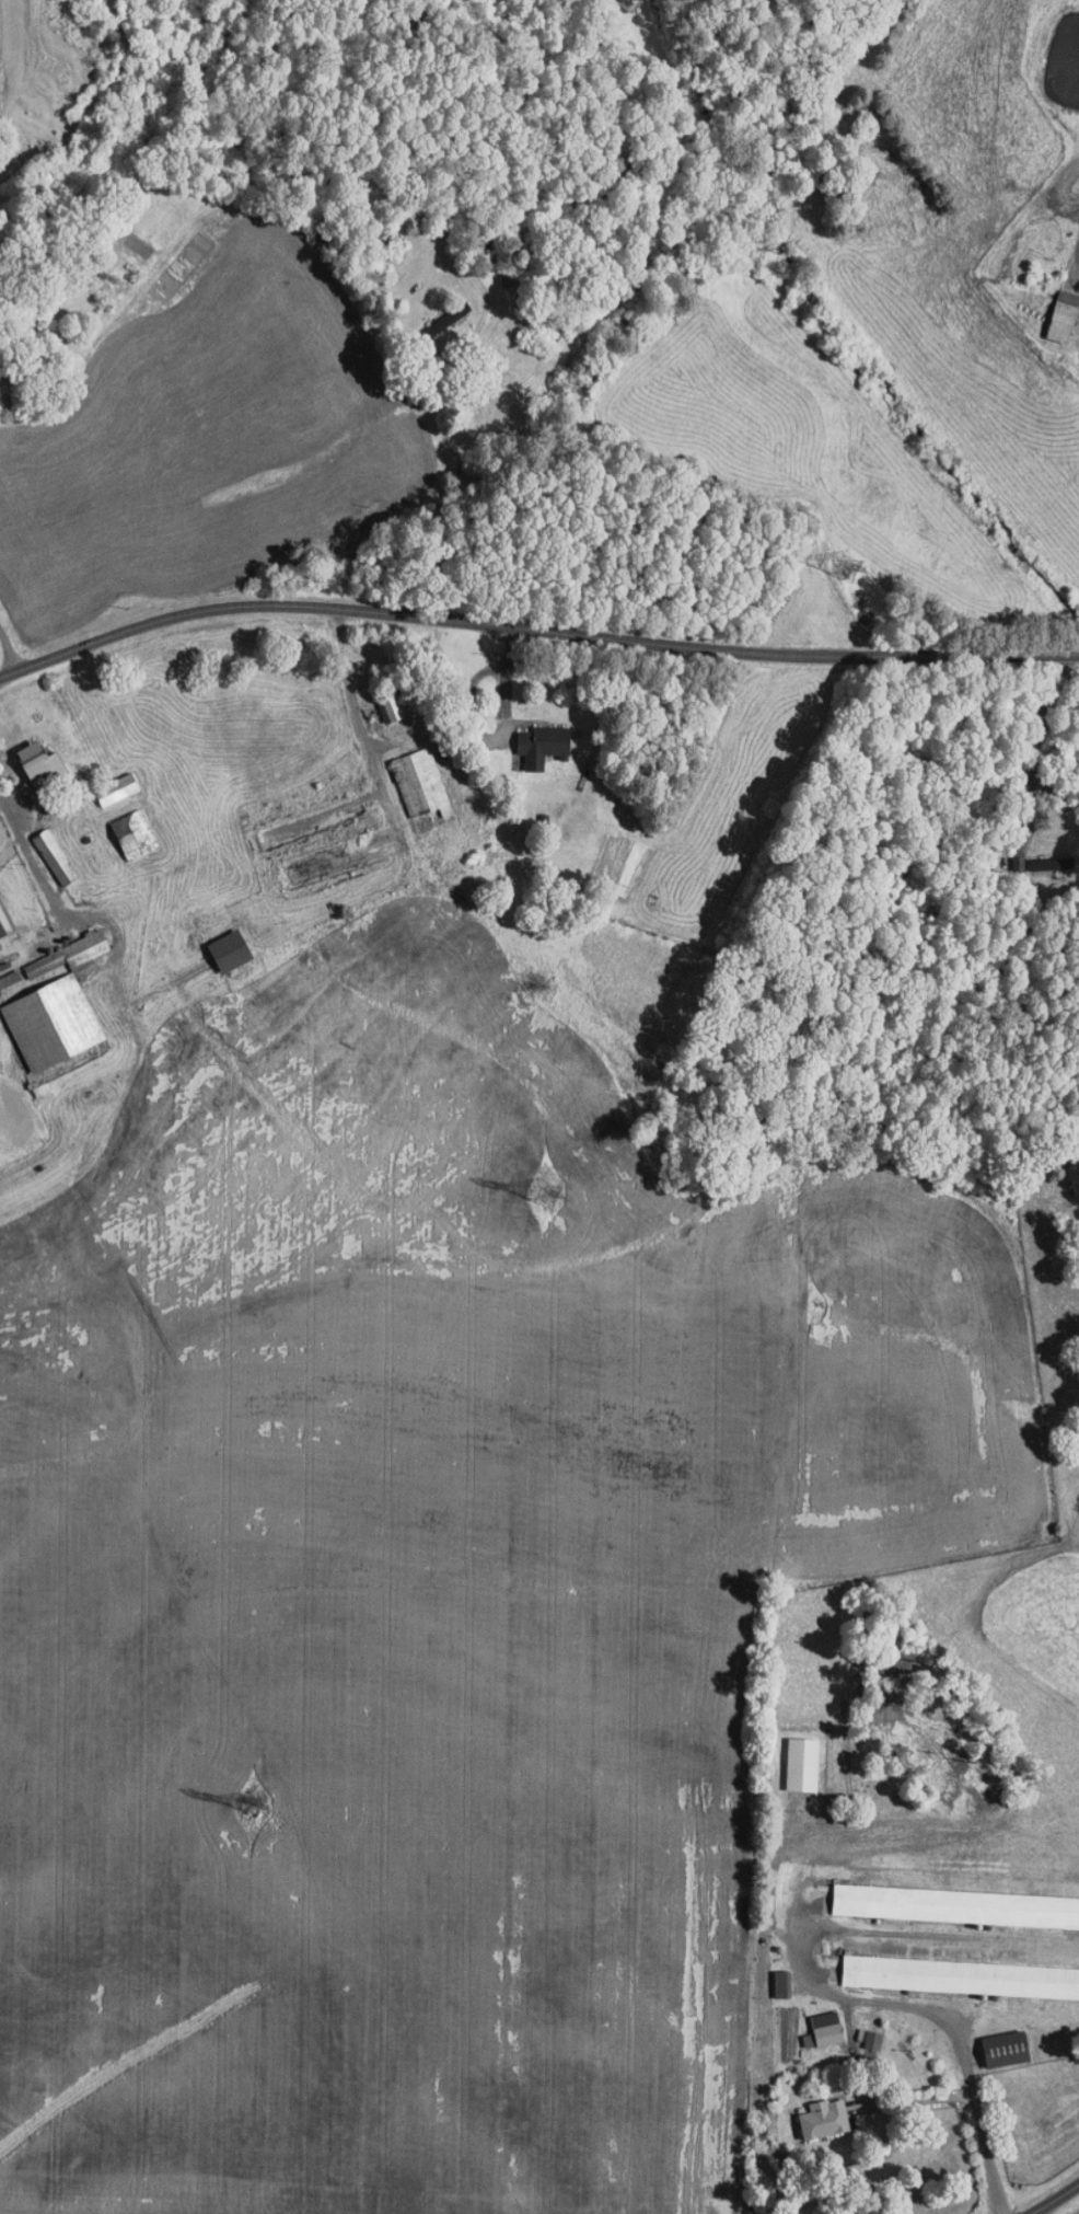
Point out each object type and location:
building: (1061, 315)
road: (463, 346)
power tower: (847, 567)
road: (533, 631)
road: (9, 648)
building: (390, 705)
building: (541, 745)
road: (1031, 748)
building: (39, 765)
building: (419, 783)
building: (115, 788)
building: (132, 834)
road: (31, 856)
building: (53, 856)
building: (1053, 863)
building: (228, 950)
building: (51, 1003)
power tower: (545, 1194)
building: (801, 1762)
power tower: (252, 1803)
building: (955, 1905)
building: (960, 1975)
building: (781, 1983)
road: (944, 2018)
building: (823, 2029)
building: (872, 2039)
building: (1005, 2048)
building: (823, 2118)
road: (1056, 2199)

